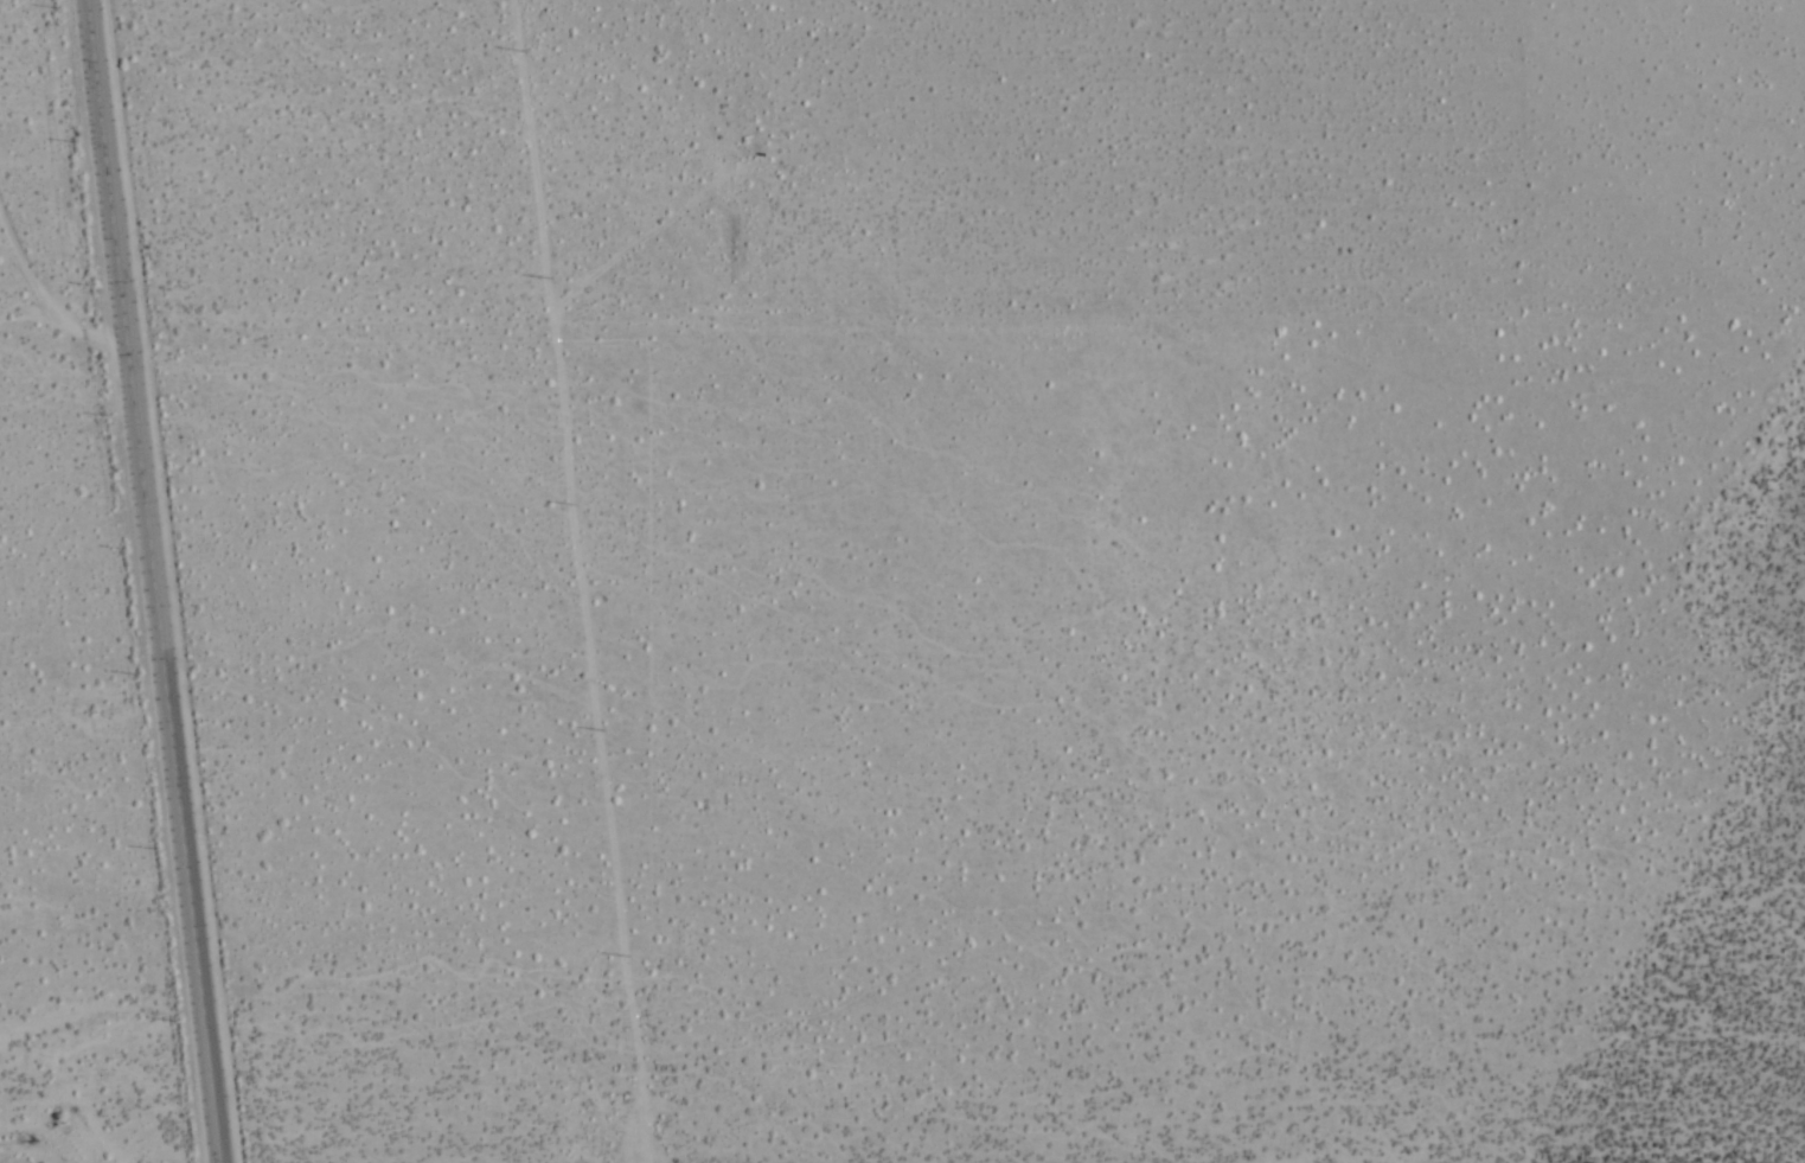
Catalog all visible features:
road: (49, 279)
road: (465, 315)
road: (160, 581)
road: (578, 581)

